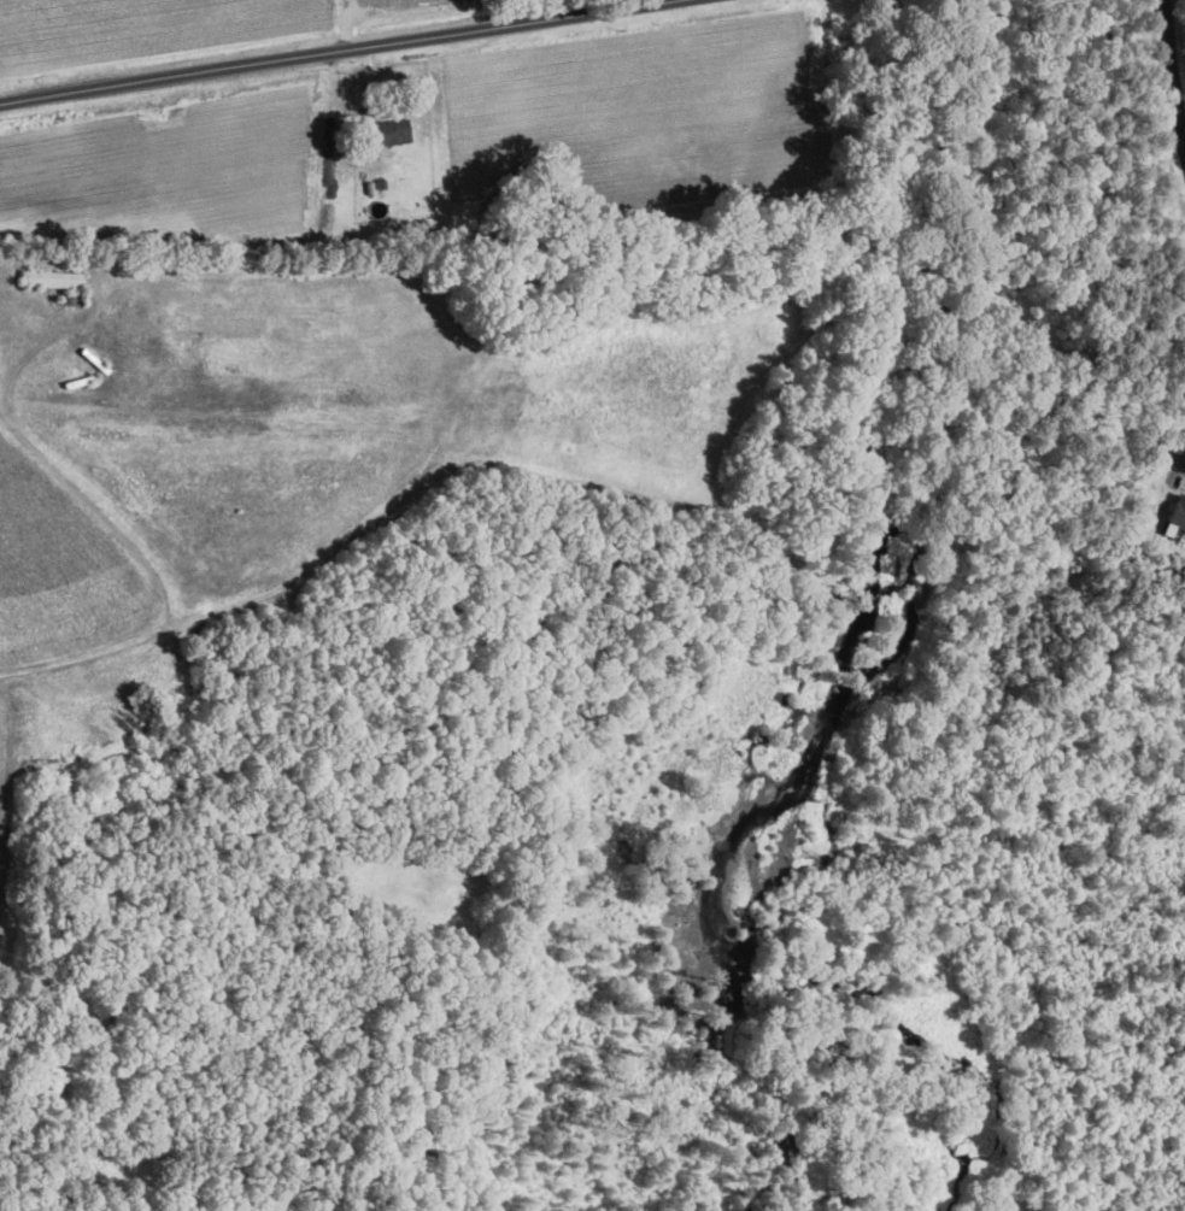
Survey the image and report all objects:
road: (342, 28)
road: (334, 55)
road: (1172, 70)
building: (389, 131)
building: (52, 278)
building: (1178, 513)

